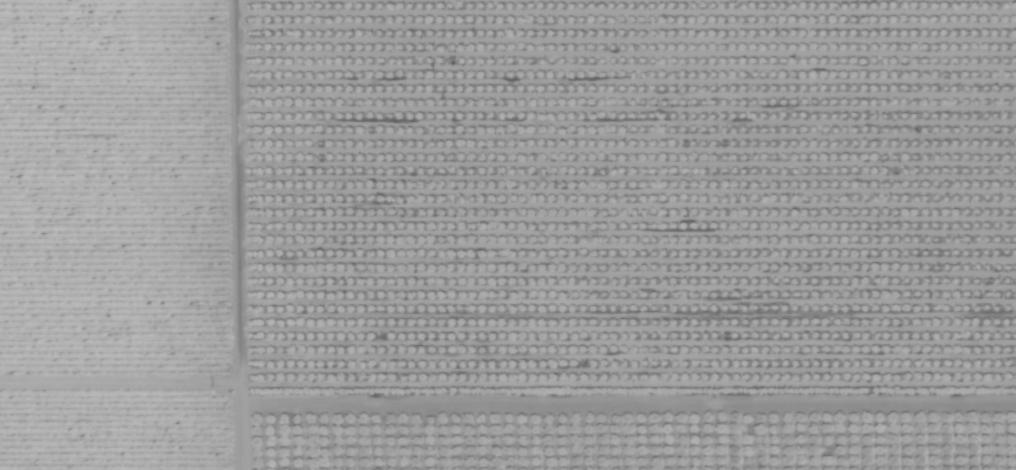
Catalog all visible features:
road: (243, 235)
crop: (508, 235)

